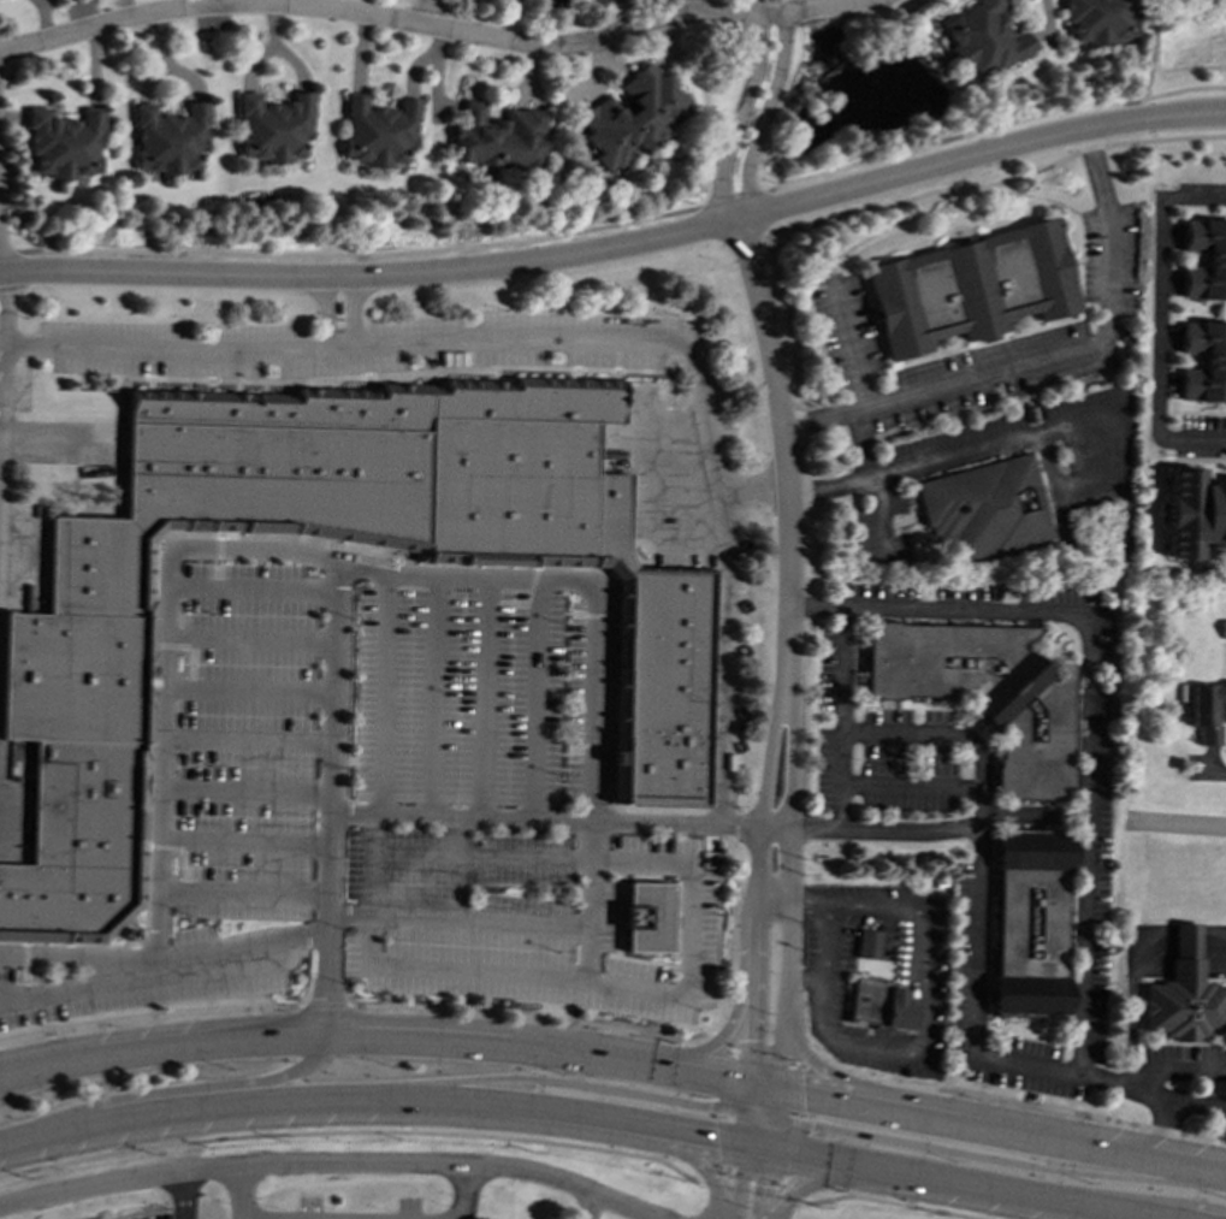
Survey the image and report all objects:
road: (691, 7)
road: (831, 8)
road: (415, 12)
road: (392, 19)
building: (1098, 19)
building: (981, 37)
road: (1148, 59)
road: (1210, 87)
road: (763, 114)
road: (1184, 114)
building: (632, 116)
road: (736, 117)
building: (272, 128)
building: (378, 131)
building: (497, 136)
building: (168, 138)
building: (64, 142)
road: (941, 166)
road: (973, 184)
road: (604, 225)
building: (1204, 259)
road: (0, 272)
road: (372, 276)
building: (970, 288)
road: (0, 292)
road: (325, 312)
road: (351, 312)
road: (1161, 321)
road: (787, 326)
road: (585, 339)
parking lot: (356, 344)
road: (617, 355)
road: (1046, 357)
building: (1203, 361)
road: (152, 363)
road: (398, 373)
road: (859, 386)
road: (669, 389)
road: (59, 440)
road: (782, 448)
road: (955, 452)
road: (753, 493)
road: (653, 496)
road: (878, 504)
building: (984, 508)
building: (1194, 513)
road: (284, 535)
road: (219, 562)
road: (581, 580)
road: (251, 588)
road: (525, 603)
road: (532, 603)
road: (592, 614)
building: (1224, 627)
road: (250, 638)
road: (172, 645)
road: (190, 661)
building: (75, 675)
road: (249, 688)
building: (985, 693)
road: (846, 694)
road: (385, 696)
road: (434, 697)
parking lot: (484, 697)
road: (485, 697)
road: (534, 698)
road: (1090, 698)
building: (1203, 710)
road: (247, 739)
parking lot: (245, 741)
road: (584, 742)
road: (596, 746)
road: (162, 757)
road: (1216, 771)
road: (904, 782)
road: (245, 791)
road: (328, 800)
road: (1026, 812)
road: (544, 819)
road: (775, 824)
road: (244, 840)
road: (166, 847)
road: (788, 851)
road: (480, 858)
road: (185, 865)
road: (369, 865)
road: (456, 869)
road: (758, 880)
road: (242, 892)
road: (588, 899)
road: (809, 904)
road: (604, 916)
building: (647, 917)
parking lot: (532, 918)
road: (456, 921)
building: (1029, 931)
road: (618, 945)
road: (78, 957)
road: (25, 969)
parking lot: (153, 977)
road: (976, 977)
road: (617, 984)
road: (79, 986)
building: (875, 990)
road: (920, 992)
road: (23, 993)
building: (1183, 994)
road: (739, 998)
road: (325, 1005)
road: (150, 1016)
road: (533, 1016)
road: (374, 1037)
traffic signals: (753, 1040)
road: (750, 1053)
road: (800, 1054)
road: (778, 1055)
road: (1179, 1070)
road: (31, 1079)
road: (562, 1082)
road: (727, 1083)
road: (762, 1085)
road: (179, 1088)
road: (792, 1089)
traffic signals: (801, 1093)
road: (748, 1095)
road: (372, 1099)
road: (762, 1099)
road: (920, 1099)
road: (1014, 1102)
traffic signals: (709, 1106)
road: (772, 1107)
road: (746, 1125)
traffic signals: (811, 1125)
road: (1161, 1128)
road: (1000, 1129)
road: (354, 1131)
road: (756, 1132)
road: (588, 1135)
road: (769, 1137)
traffic signals: (715, 1140)
road: (724, 1144)
road: (756, 1147)
road: (790, 1149)
road: (996, 1160)
road: (331, 1161)
road: (715, 1177)
road: (757, 1178)
road: (740, 1182)
road: (811, 1183)
road: (763, 1184)
road: (955, 1184)
traffic signals: (763, 1185)
road: (464, 1191)
road: (793, 1191)
road: (241, 1193)
road: (185, 1196)
road: (1127, 1201)
road: (889, 1202)
road: (591, 1205)

